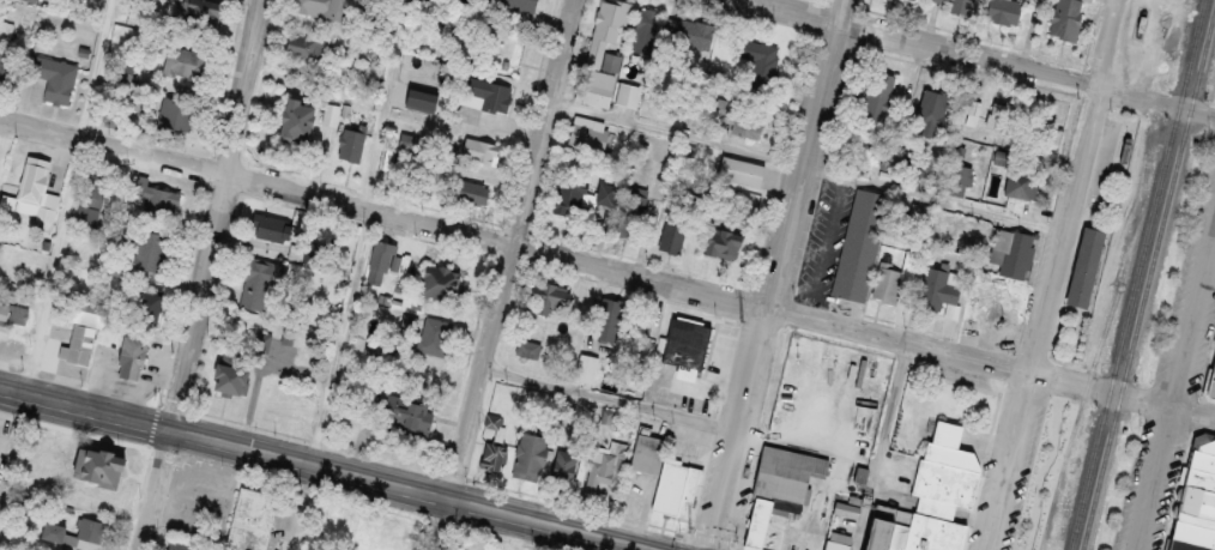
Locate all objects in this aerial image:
building: (31, 0)
building: (939, 0)
building: (515, 4)
building: (204, 6)
building: (1068, 6)
building: (318, 7)
building: (959, 7)
building: (1003, 12)
building: (609, 20)
building: (1063, 26)
building: (642, 31)
building: (6, 32)
building: (688, 32)
building: (297, 47)
road: (998, 55)
building: (756, 61)
building: (185, 64)
building: (5, 68)
building: (56, 77)
building: (594, 86)
building: (485, 92)
building: (876, 96)
building: (421, 98)
building: (929, 111)
building: (175, 114)
building: (737, 117)
building: (1001, 117)
building: (291, 119)
power tower: (788, 128)
building: (586, 133)
building: (406, 140)
building: (349, 145)
building: (476, 150)
road: (808, 163)
building: (430, 171)
building: (738, 171)
building: (31, 179)
building: (959, 179)
building: (1020, 185)
building: (92, 186)
building: (467, 191)
building: (602, 193)
building: (567, 194)
road: (69, 198)
building: (156, 199)
building: (631, 214)
building: (270, 228)
road: (364, 234)
building: (671, 237)
building: (723, 241)
building: (859, 244)
building: (147, 250)
building: (1010, 252)
building: (379, 260)
building: (1082, 266)
road: (606, 267)
road: (503, 273)
road: (205, 274)
road: (780, 274)
road: (1056, 274)
railway: (1140, 274)
building: (260, 280)
building: (440, 282)
building: (884, 283)
railway: (1149, 284)
building: (933, 289)
building: (548, 296)
building: (144, 307)
building: (997, 308)
building: (86, 312)
building: (4, 318)
building: (609, 319)
power tower: (742, 321)
building: (434, 336)
railway: (1105, 337)
building: (682, 344)
building: (80, 345)
building: (527, 347)
building: (131, 356)
building: (585, 367)
building: (228, 375)
building: (1209, 381)
road: (613, 397)
road: (1175, 406)
building: (508, 410)
building: (403, 412)
road: (11, 446)
road: (884, 446)
building: (645, 453)
building: (494, 457)
building: (528, 457)
building: (563, 464)
building: (92, 466)
building: (605, 466)
road: (1051, 466)
road: (328, 470)
building: (798, 473)
building: (943, 473)
parking lot: (1018, 478)
building: (675, 488)
building: (1193, 497)
road: (301, 508)
building: (845, 509)
building: (249, 519)
building: (757, 522)
power tower: (691, 524)
building: (92, 531)
building: (58, 533)
building: (373, 533)
building: (937, 533)
building: (775, 536)
building: (875, 536)
building: (839, 537)
building: (897, 537)
building: (833, 545)

